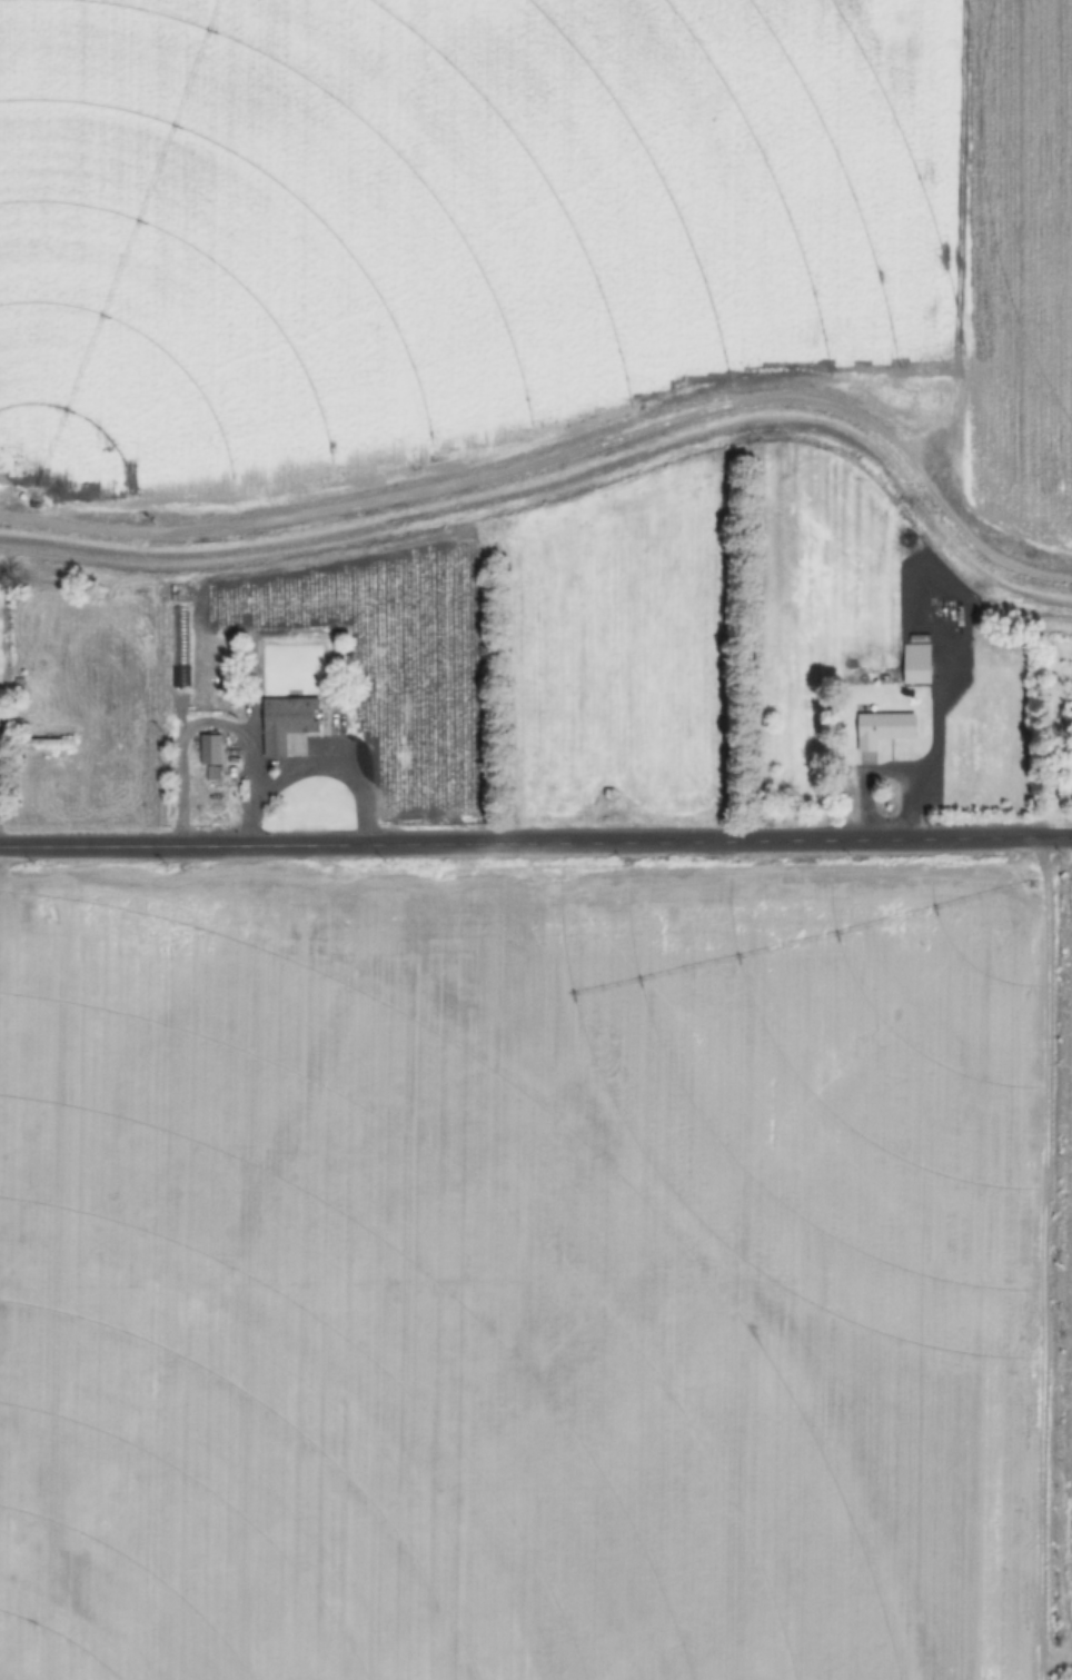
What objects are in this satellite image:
building: (180, 646)
building: (916, 666)
building: (287, 722)
building: (883, 728)
building: (44, 744)
building: (210, 749)
road: (535, 822)
road: (29, 1192)

